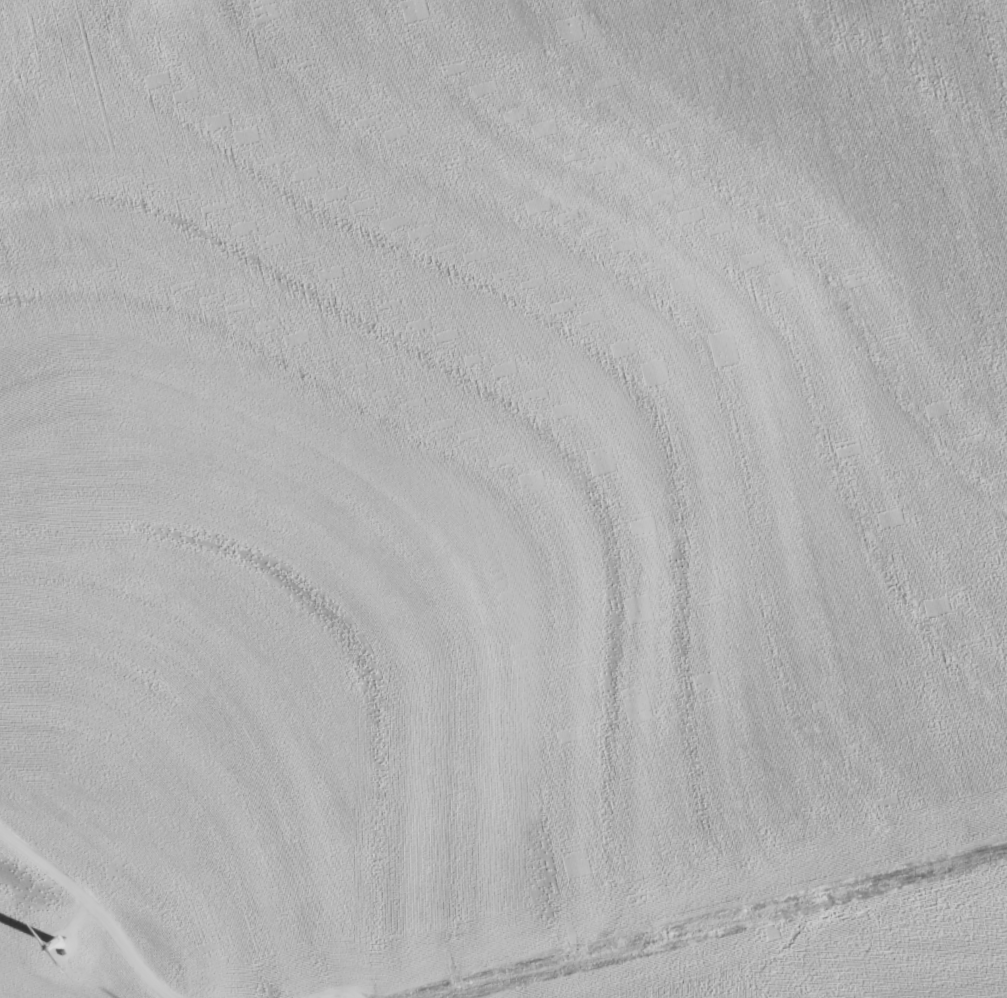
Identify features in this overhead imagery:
road: (94, 906)
wind turbine: (51, 930)
road: (338, 994)

